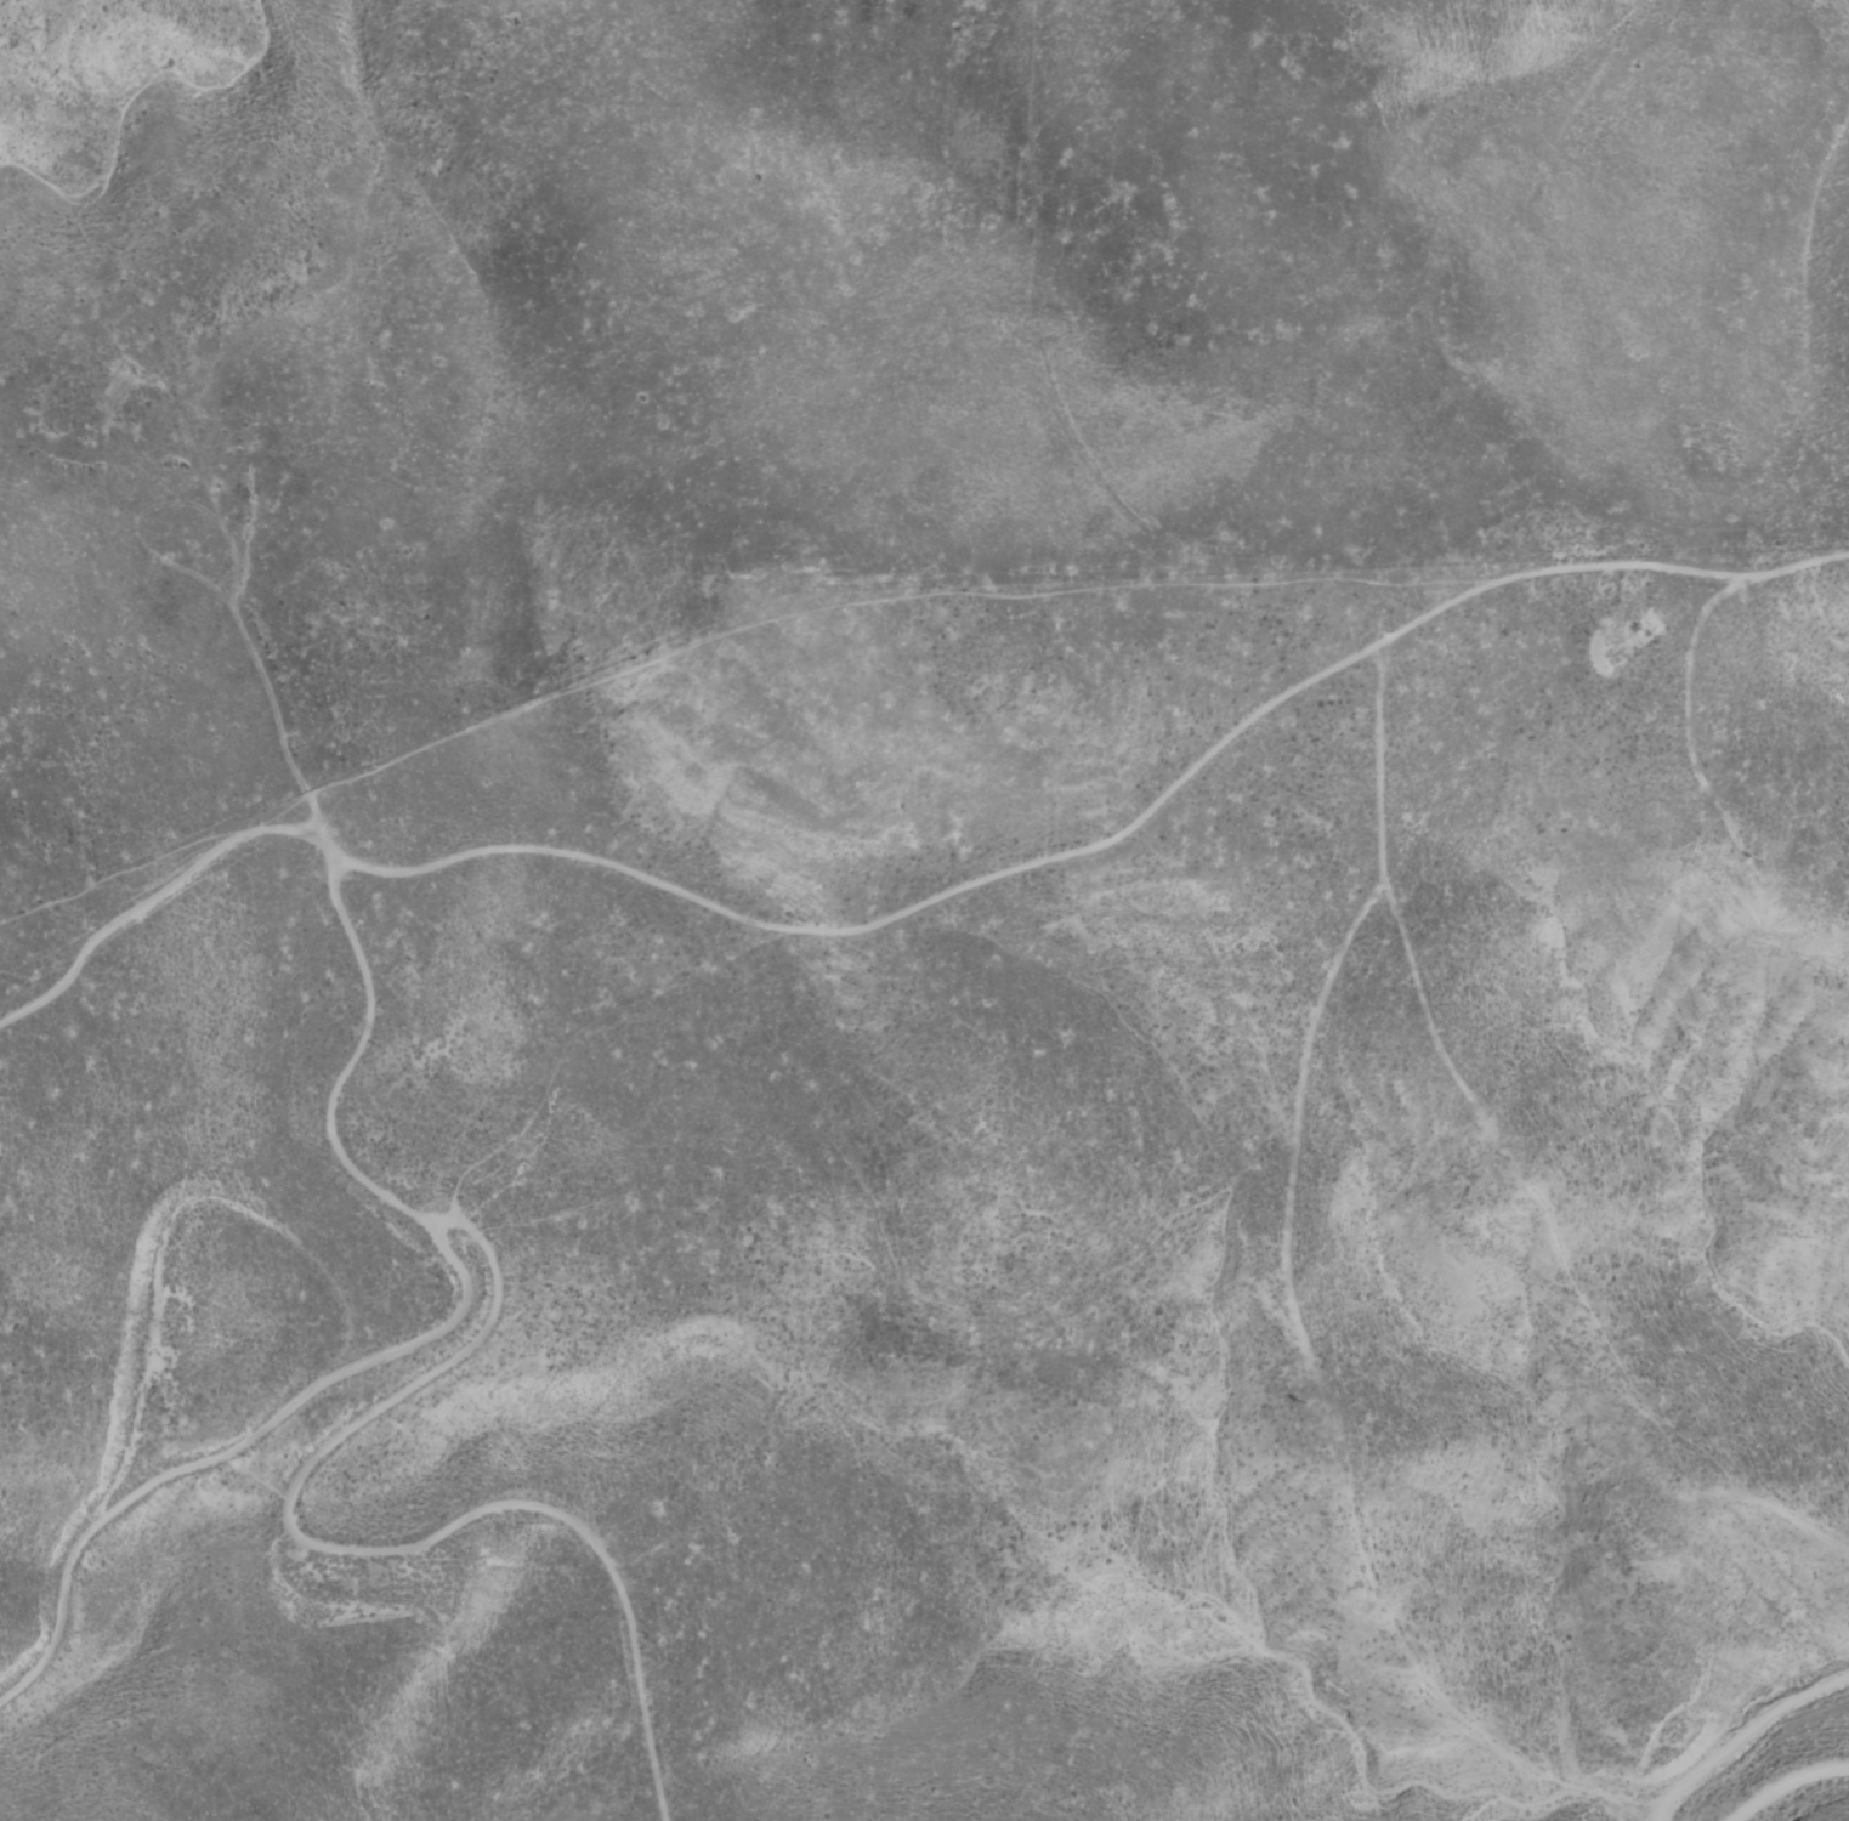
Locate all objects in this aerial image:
building: (110, 388)
road: (924, 901)
road: (220, 1460)
road: (1746, 1740)
road: (1787, 1785)

